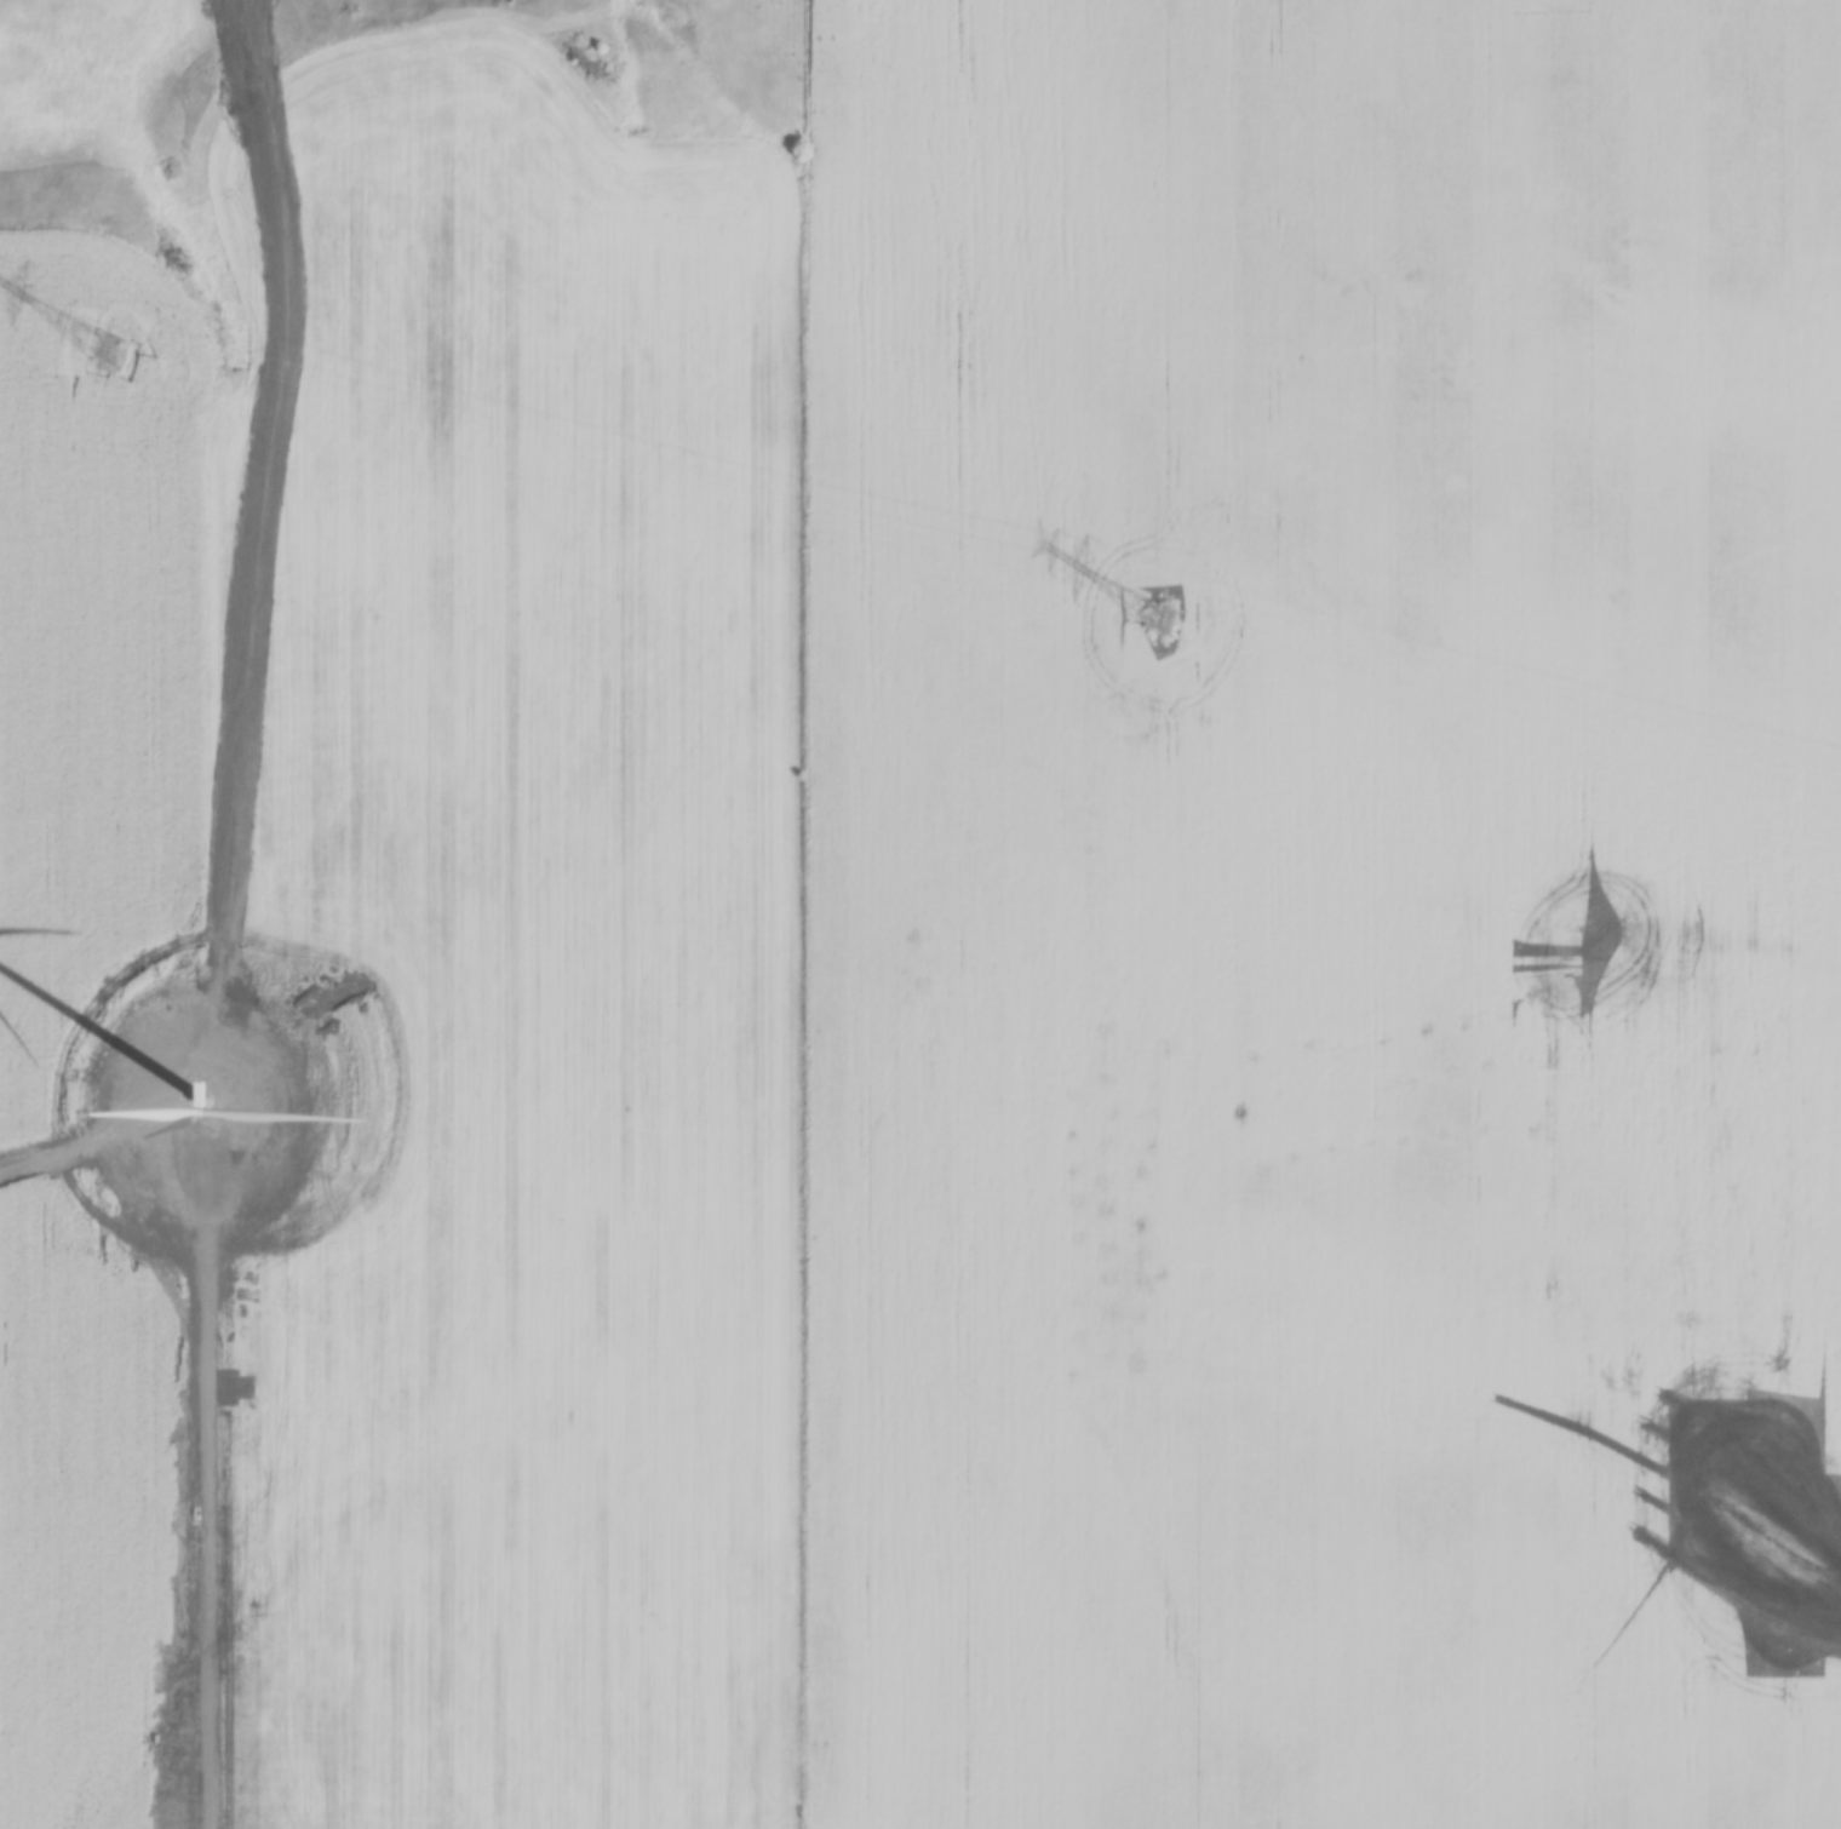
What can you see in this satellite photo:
power tower: (103, 346)
power tower: (1160, 621)
wind turbine: (199, 1107)

